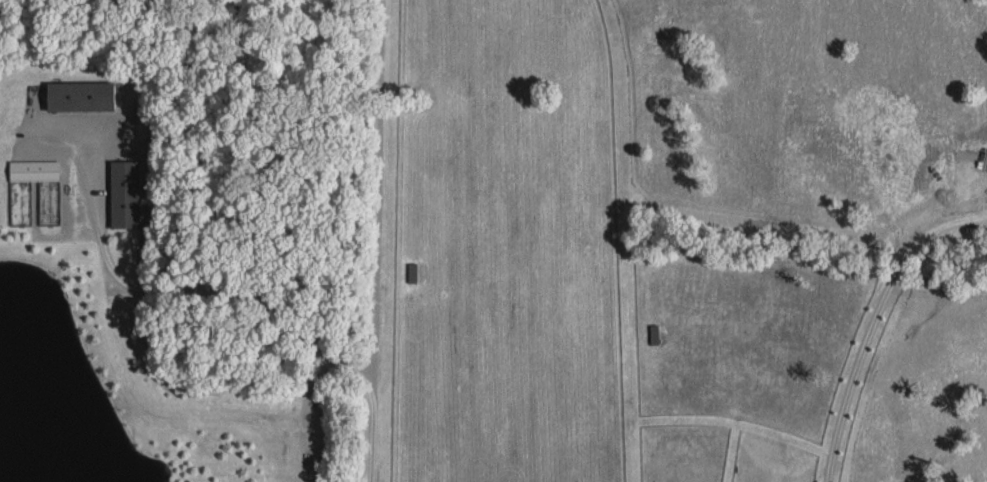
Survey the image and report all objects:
building: (82, 94)
building: (36, 168)
building: (125, 192)

